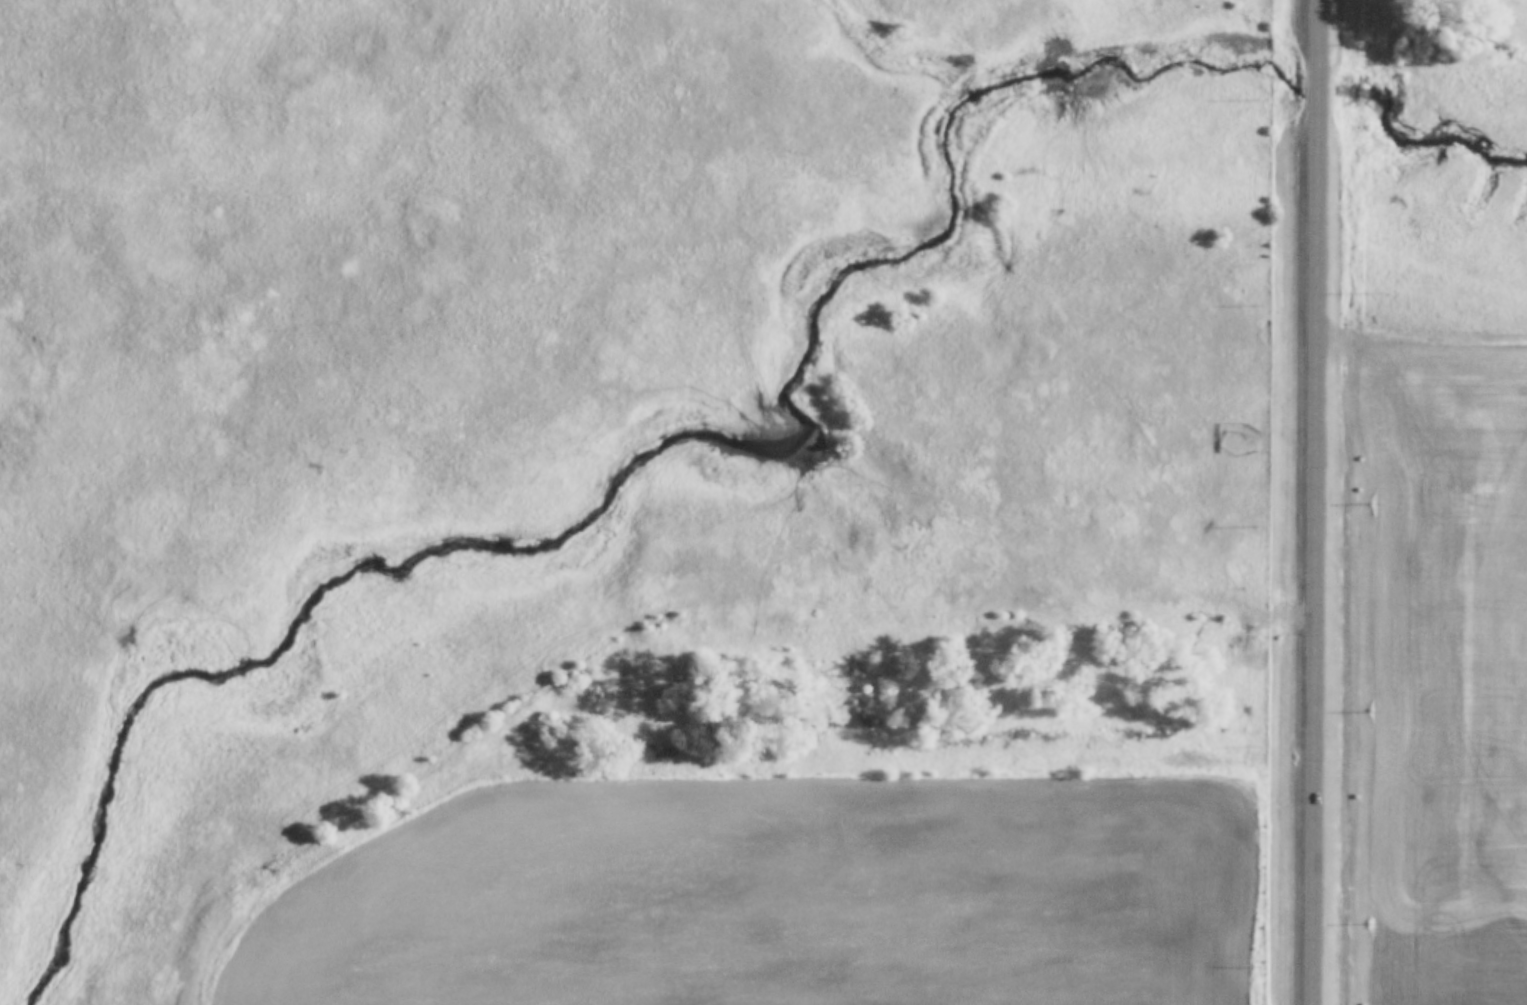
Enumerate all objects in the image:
road: (1424, 346)
road: (1320, 502)

